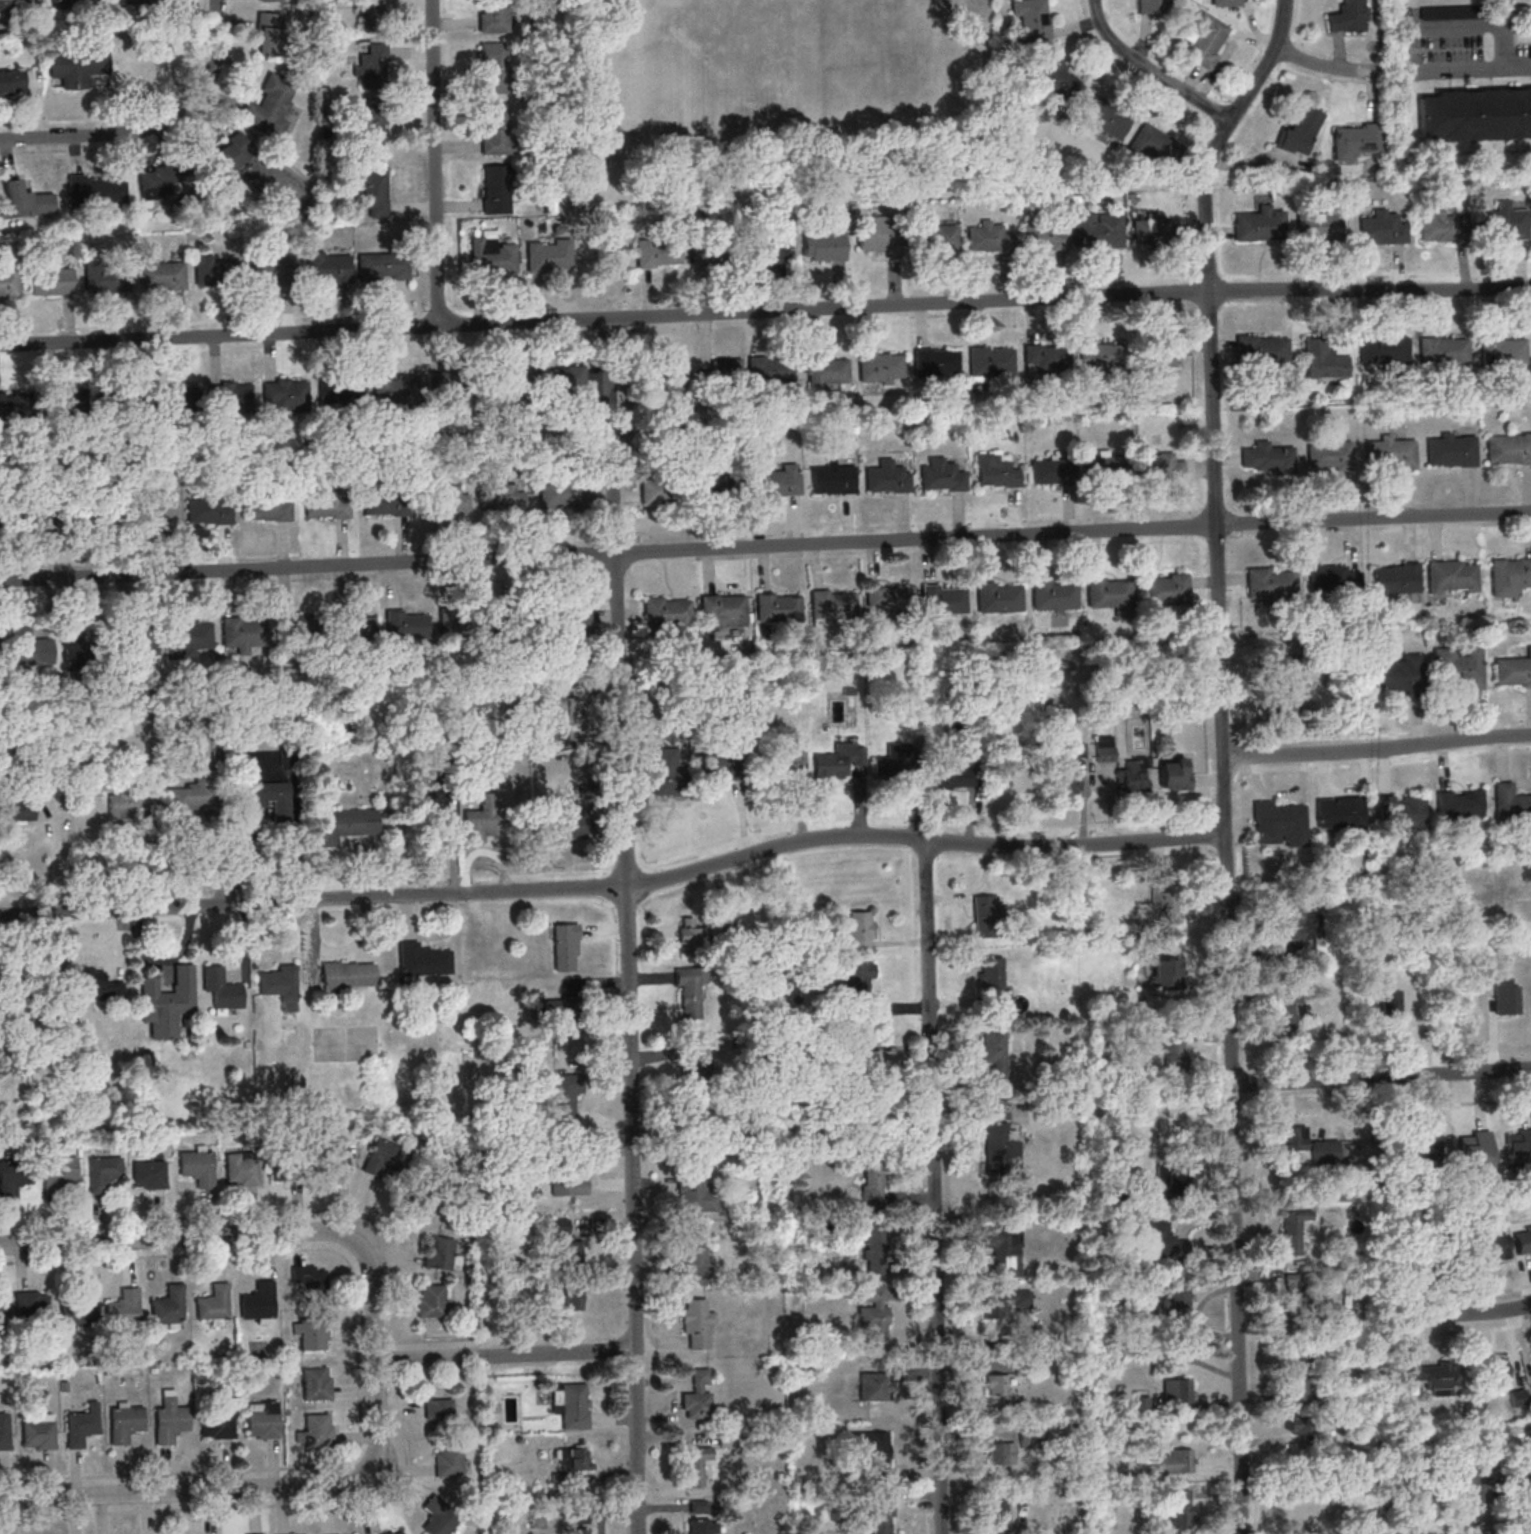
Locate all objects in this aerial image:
building: (269, 0)
building: (1225, 2)
building: (13, 4)
building: (69, 4)
building: (1150, 7)
building: (1446, 13)
building: (372, 16)
building: (493, 16)
building: (1348, 16)
building: (1031, 20)
building: (270, 34)
road: (1503, 34)
building: (1204, 39)
building: (1529, 51)
road: (1322, 66)
building: (75, 67)
building: (371, 68)
building: (492, 69)
road: (1150, 69)
road: (1470, 70)
building: (1057, 79)
building: (12, 82)
building: (269, 105)
building: (1474, 113)
building: (1104, 119)
road: (150, 124)
building: (369, 129)
building: (496, 132)
building: (1300, 132)
building: (1355, 141)
building: (1153, 144)
road: (434, 161)
building: (225, 165)
building: (158, 182)
building: (495, 190)
building: (92, 192)
building: (371, 192)
building: (27, 200)
building: (1258, 223)
building: (1319, 223)
building: (1502, 223)
building: (1383, 228)
building: (1095, 229)
building: (1441, 229)
building: (1152, 230)
building: (876, 233)
building: (1041, 234)
building: (937, 237)
building: (986, 237)
building: (824, 244)
building: (768, 246)
building: (655, 253)
building: (549, 256)
building: (493, 258)
building: (380, 265)
building: (325, 266)
building: (269, 269)
building: (213, 272)
building: (158, 273)
building: (103, 278)
building: (48, 280)
building: (7, 283)
road: (765, 310)
building: (1382, 349)
building: (1262, 350)
building: (1444, 350)
building: (1499, 353)
building: (1100, 354)
building: (1163, 356)
building: (1046, 359)
building: (1324, 360)
building: (936, 361)
building: (991, 362)
building: (881, 366)
building: (770, 368)
building: (726, 370)
building: (826, 371)
building: (557, 378)
building: (667, 379)
building: (451, 387)
building: (500, 388)
building: (393, 390)
building: (340, 391)
building: (181, 395)
building: (231, 395)
building: (282, 395)
building: (116, 399)
building: (1507, 447)
building: (1449, 450)
building: (1328, 453)
building: (1389, 453)
building: (1268, 458)
building: (1158, 466)
building: (1102, 467)
building: (1050, 471)
building: (995, 472)
building: (939, 474)
building: (885, 477)
building: (833, 478)
building: (775, 481)
building: (711, 484)
building: (657, 485)
building: (563, 491)
building: (499, 494)
building: (443, 498)
building: (382, 501)
building: (323, 502)
building: (116, 505)
building: (265, 505)
building: (151, 508)
building: (206, 508)
building: (26, 515)
road: (765, 547)
building: (1448, 575)
building: (1508, 575)
building: (1331, 577)
building: (1393, 578)
building: (1269, 583)
building: (1164, 588)
building: (1052, 594)
building: (1109, 594)
building: (996, 596)
building: (941, 599)
building: (889, 602)
building: (830, 604)
building: (779, 606)
building: (724, 610)
building: (666, 611)
building: (565, 619)
building: (513, 620)
building: (457, 622)
building: (404, 626)
building: (351, 628)
building: (241, 631)
building: (187, 633)
building: (296, 636)
building: (133, 637)
building: (28, 646)
building: (79, 651)
building: (1455, 667)
building: (1512, 669)
building: (1399, 673)
building: (1291, 681)
building: (556, 722)
road: (1377, 751)
building: (1105, 753)
road: (1223, 757)
building: (797, 758)
building: (839, 760)
building: (898, 762)
building: (716, 769)
building: (1175, 773)
building: (1064, 774)
building: (954, 775)
building: (1133, 775)
building: (264, 794)
building: (195, 798)
building: (1509, 802)
building: (435, 804)
building: (1459, 804)
building: (128, 805)
building: (566, 809)
building: (15, 810)
building: (1398, 811)
building: (1340, 813)
building: (343, 824)
building: (480, 824)
building: (1280, 824)
road: (923, 842)
road: (314, 899)
building: (1166, 901)
building: (987, 915)
building: (1290, 923)
road: (628, 925)
building: (859, 929)
building: (690, 936)
building: (565, 946)
building: (418, 961)
building: (1166, 973)
building: (344, 974)
building: (857, 976)
building: (993, 981)
building: (96, 984)
building: (277, 985)
building: (218, 987)
building: (689, 992)
building: (1392, 1003)
building: (162, 1004)
building: (1289, 1007)
building: (557, 1010)
building: (857, 1044)
building: (1174, 1049)
building: (996, 1055)
building: (696, 1062)
road: (1382, 1078)
building: (563, 1099)
building: (997, 1109)
building: (1293, 1137)
building: (1518, 1146)
building: (1001, 1149)
building: (1474, 1149)
building: (1324, 1151)
building: (1423, 1155)
building: (330, 1157)
building: (385, 1157)
building: (283, 1164)
building: (195, 1166)
building: (241, 1169)
building: (102, 1171)
building: (56, 1172)
building: (13, 1174)
building: (147, 1174)
building: (1171, 1177)
building: (873, 1181)
building: (570, 1184)
road: (934, 1188)
building: (694, 1194)
building: (418, 1202)
road: (156, 1219)
building: (1357, 1225)
building: (556, 1228)
building: (1294, 1230)
road: (240, 1234)
building: (872, 1235)
building: (1523, 1240)
building: (1164, 1241)
building: (1494, 1247)
building: (1004, 1249)
building: (563, 1251)
building: (440, 1253)
building: (693, 1255)
building: (308, 1276)
building: (1295, 1291)
building: (1177, 1297)
building: (574, 1298)
building: (431, 1300)
building: (256, 1301)
building: (211, 1302)
building: (33, 1303)
building: (992, 1304)
building: (165, 1305)
building: (76, 1308)
building: (122, 1308)
building: (873, 1310)
building: (1, 1313)
road: (1464, 1314)
building: (696, 1324)
building: (1027, 1324)
building: (310, 1332)
road: (505, 1355)
road: (355, 1360)
building: (1493, 1373)
building: (1300, 1375)
building: (1429, 1376)
building: (313, 1383)
building: (997, 1385)
building: (874, 1386)
building: (1530, 1387)
building: (1177, 1390)
building: (698, 1395)
building: (1513, 1398)
building: (1142, 1403)
building: (573, 1404)
building: (439, 1410)
building: (122, 1422)
building: (167, 1422)
building: (263, 1422)
building: (218, 1424)
building: (1300, 1424)
building: (80, 1425)
building: (316, 1429)
building: (3, 1431)
building: (39, 1432)
building: (726, 1440)
building: (871, 1451)
building: (1000, 1453)
building: (1145, 1457)
building: (575, 1458)
building: (449, 1460)
building: (1177, 1461)
building: (697, 1465)
building: (1478, 1480)
road: (241, 1489)
building: (1415, 1493)
road: (309, 1502)
building: (1181, 1508)
building: (998, 1511)
building: (1301, 1513)
building: (440, 1517)
building: (881, 1517)
building: (704, 1526)
building: (582, 1530)
building: (253, 1533)
building: (390, 1533)
building: (403, 1533)

